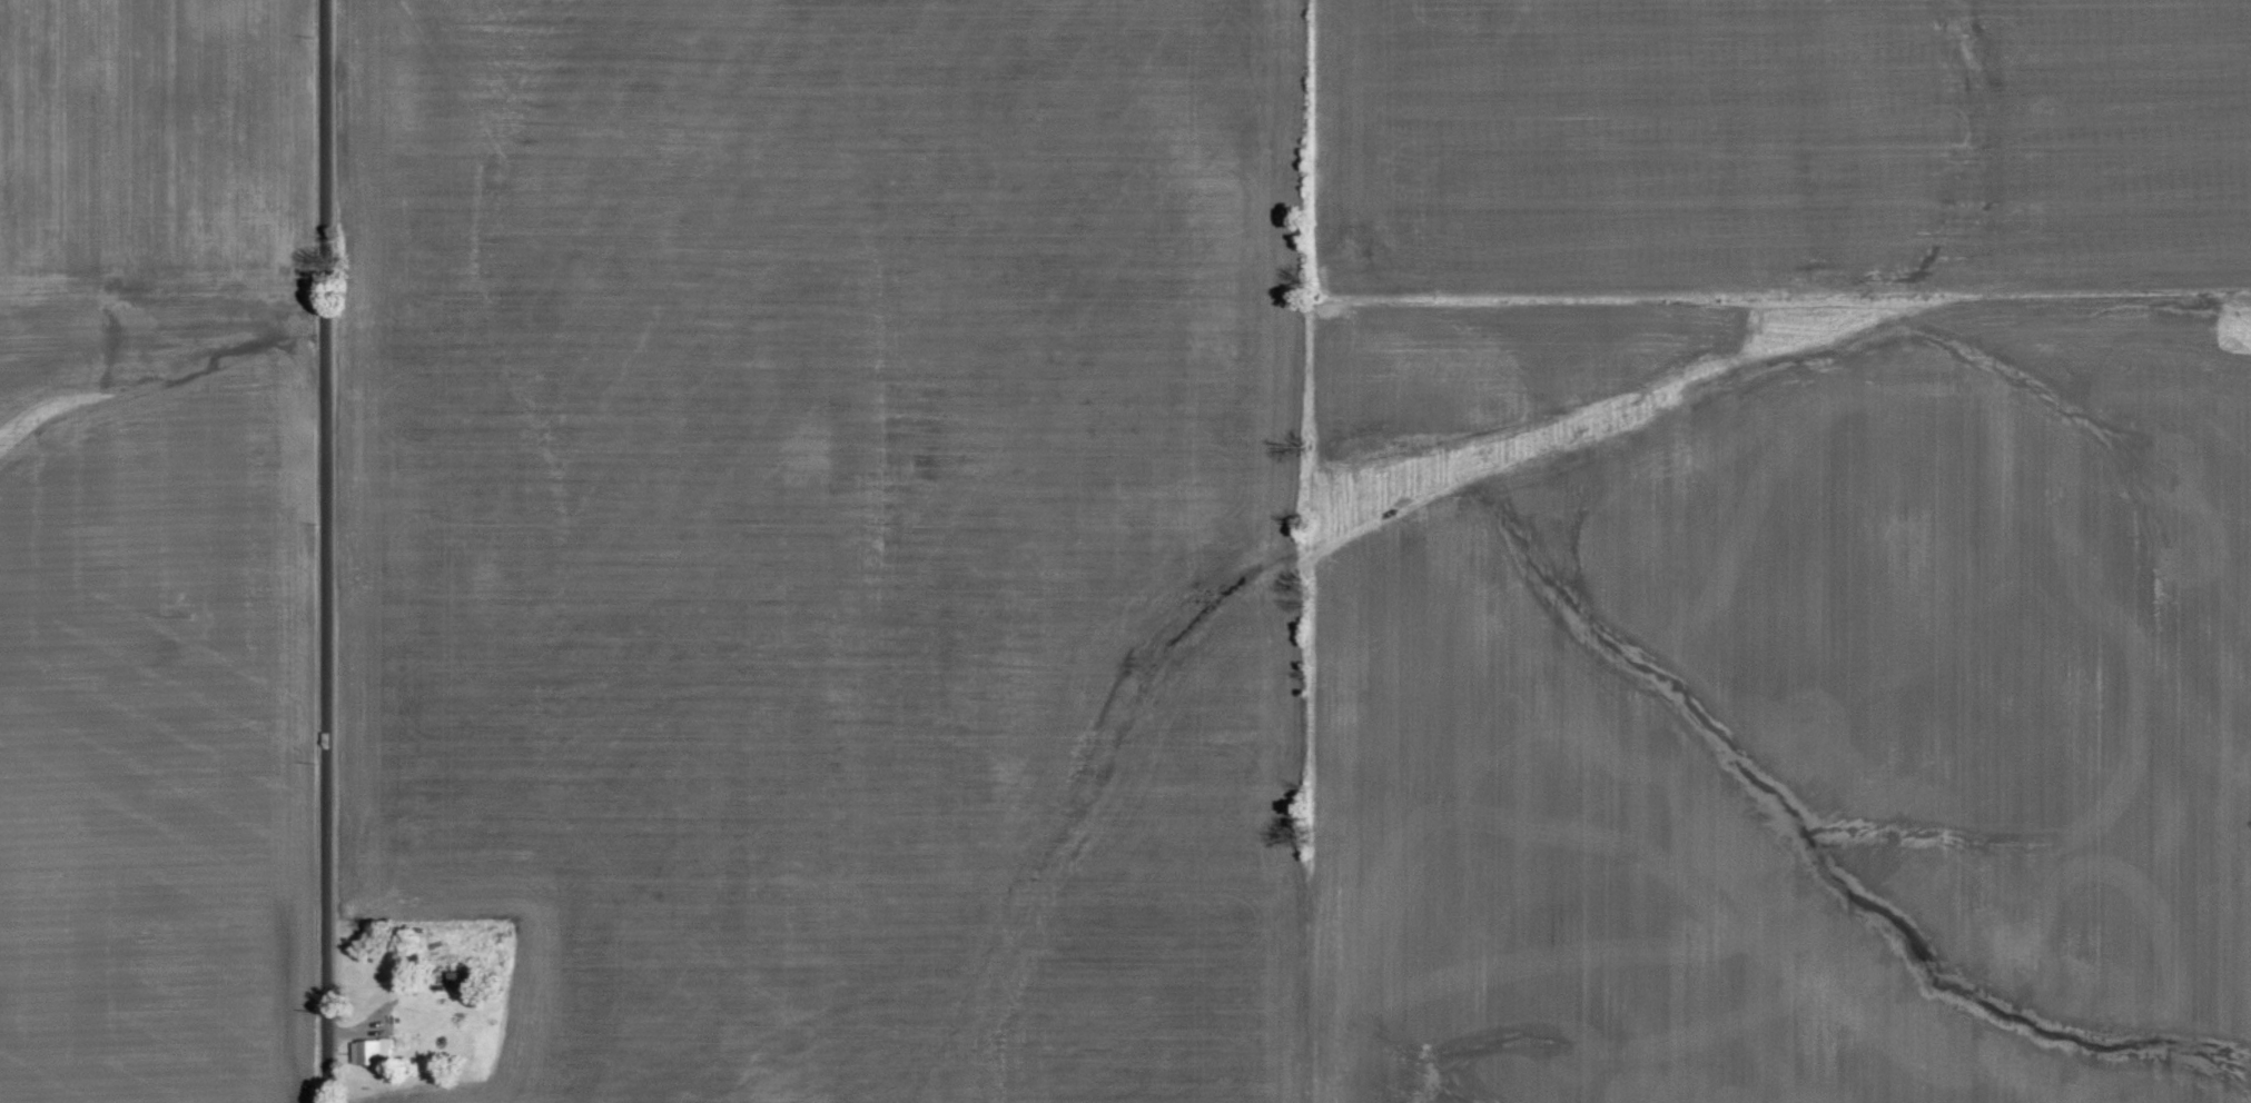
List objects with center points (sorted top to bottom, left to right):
road: (335, 550)
building: (368, 1053)

